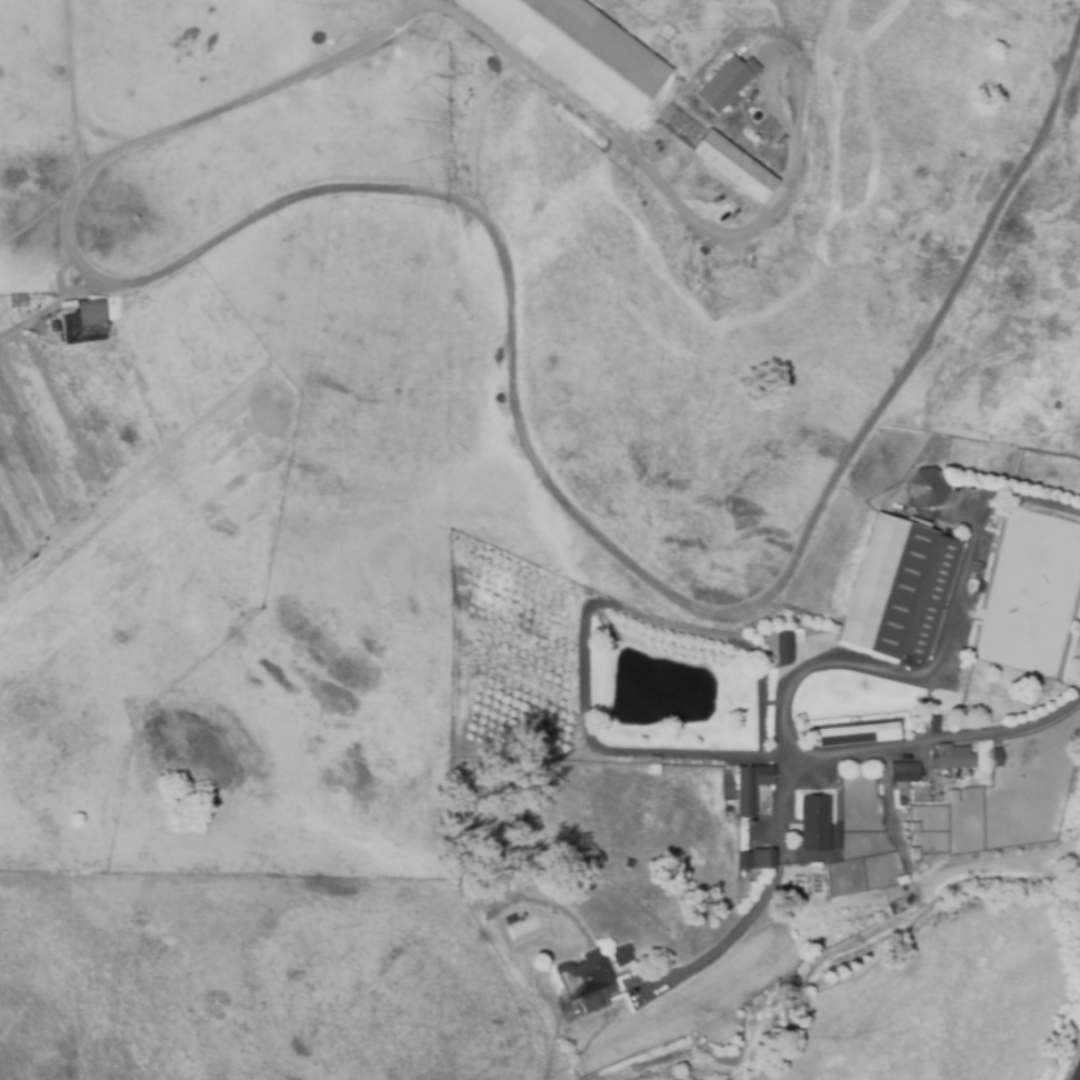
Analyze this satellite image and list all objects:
road: (318, 64)
building: (724, 84)
building: (736, 167)
building: (86, 321)
building: (927, 487)
road: (591, 523)
building: (900, 590)
building: (782, 648)
road: (943, 654)
building: (858, 734)
road: (780, 756)
building: (954, 756)
building: (996, 758)
building: (909, 770)
building: (754, 787)
building: (818, 821)
building: (760, 859)
road: (766, 898)
building: (622, 956)
building: (589, 979)
road: (1077, 1073)

